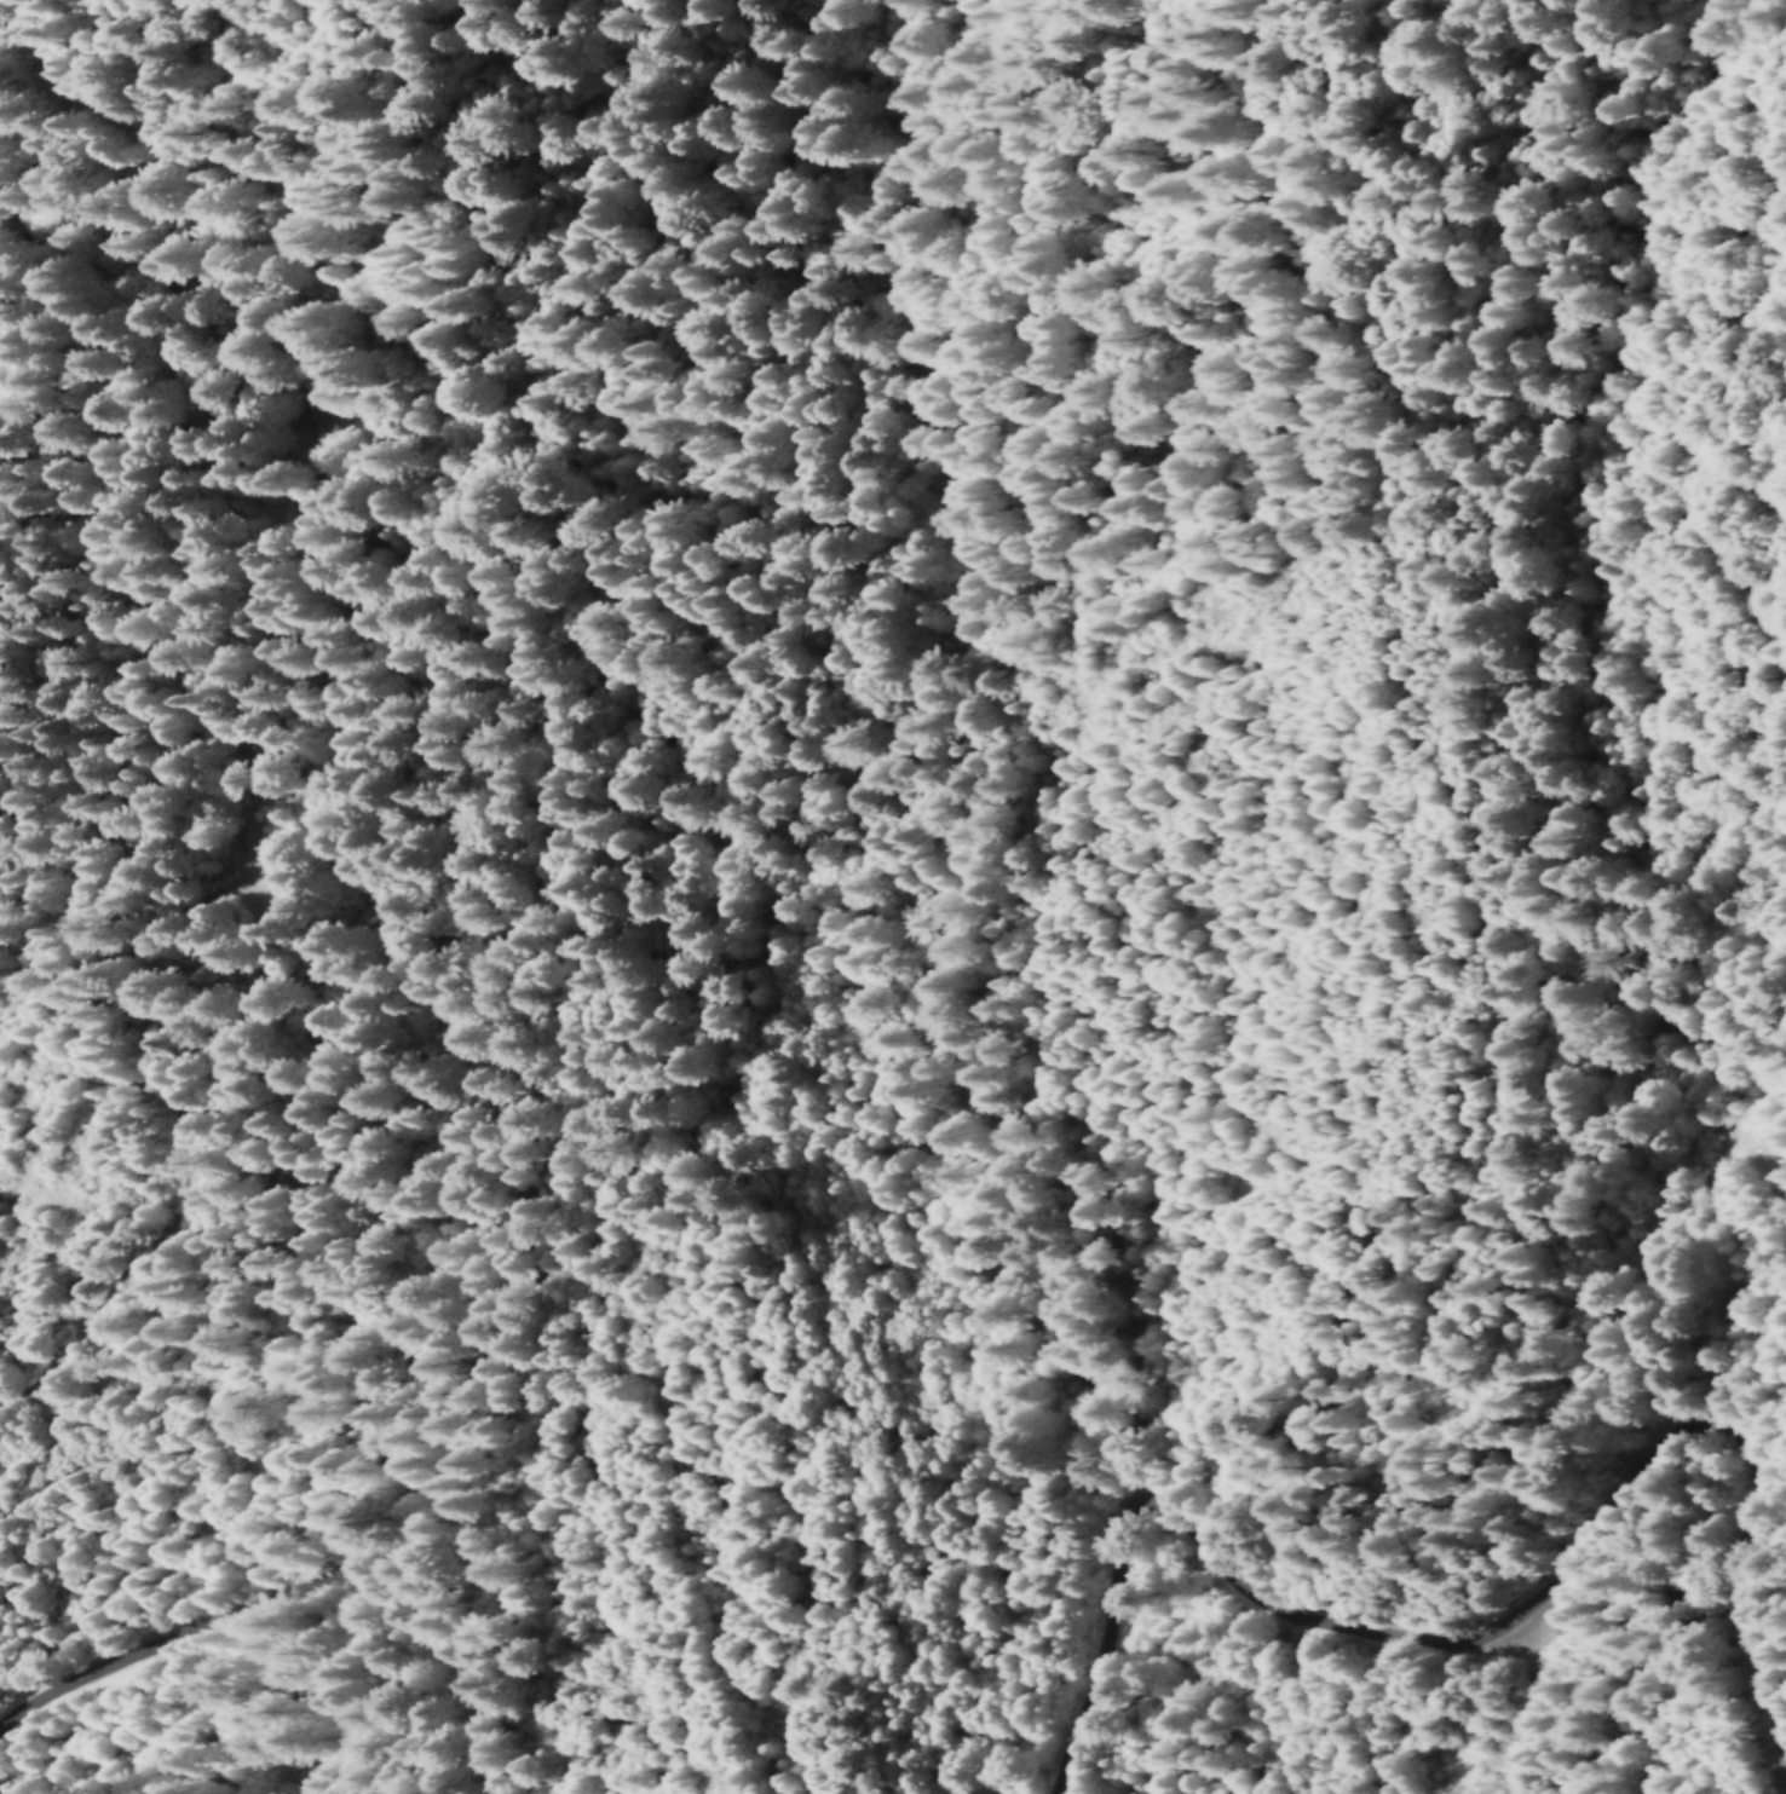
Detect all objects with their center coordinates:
road: (300, 1596)
road: (1477, 1650)

